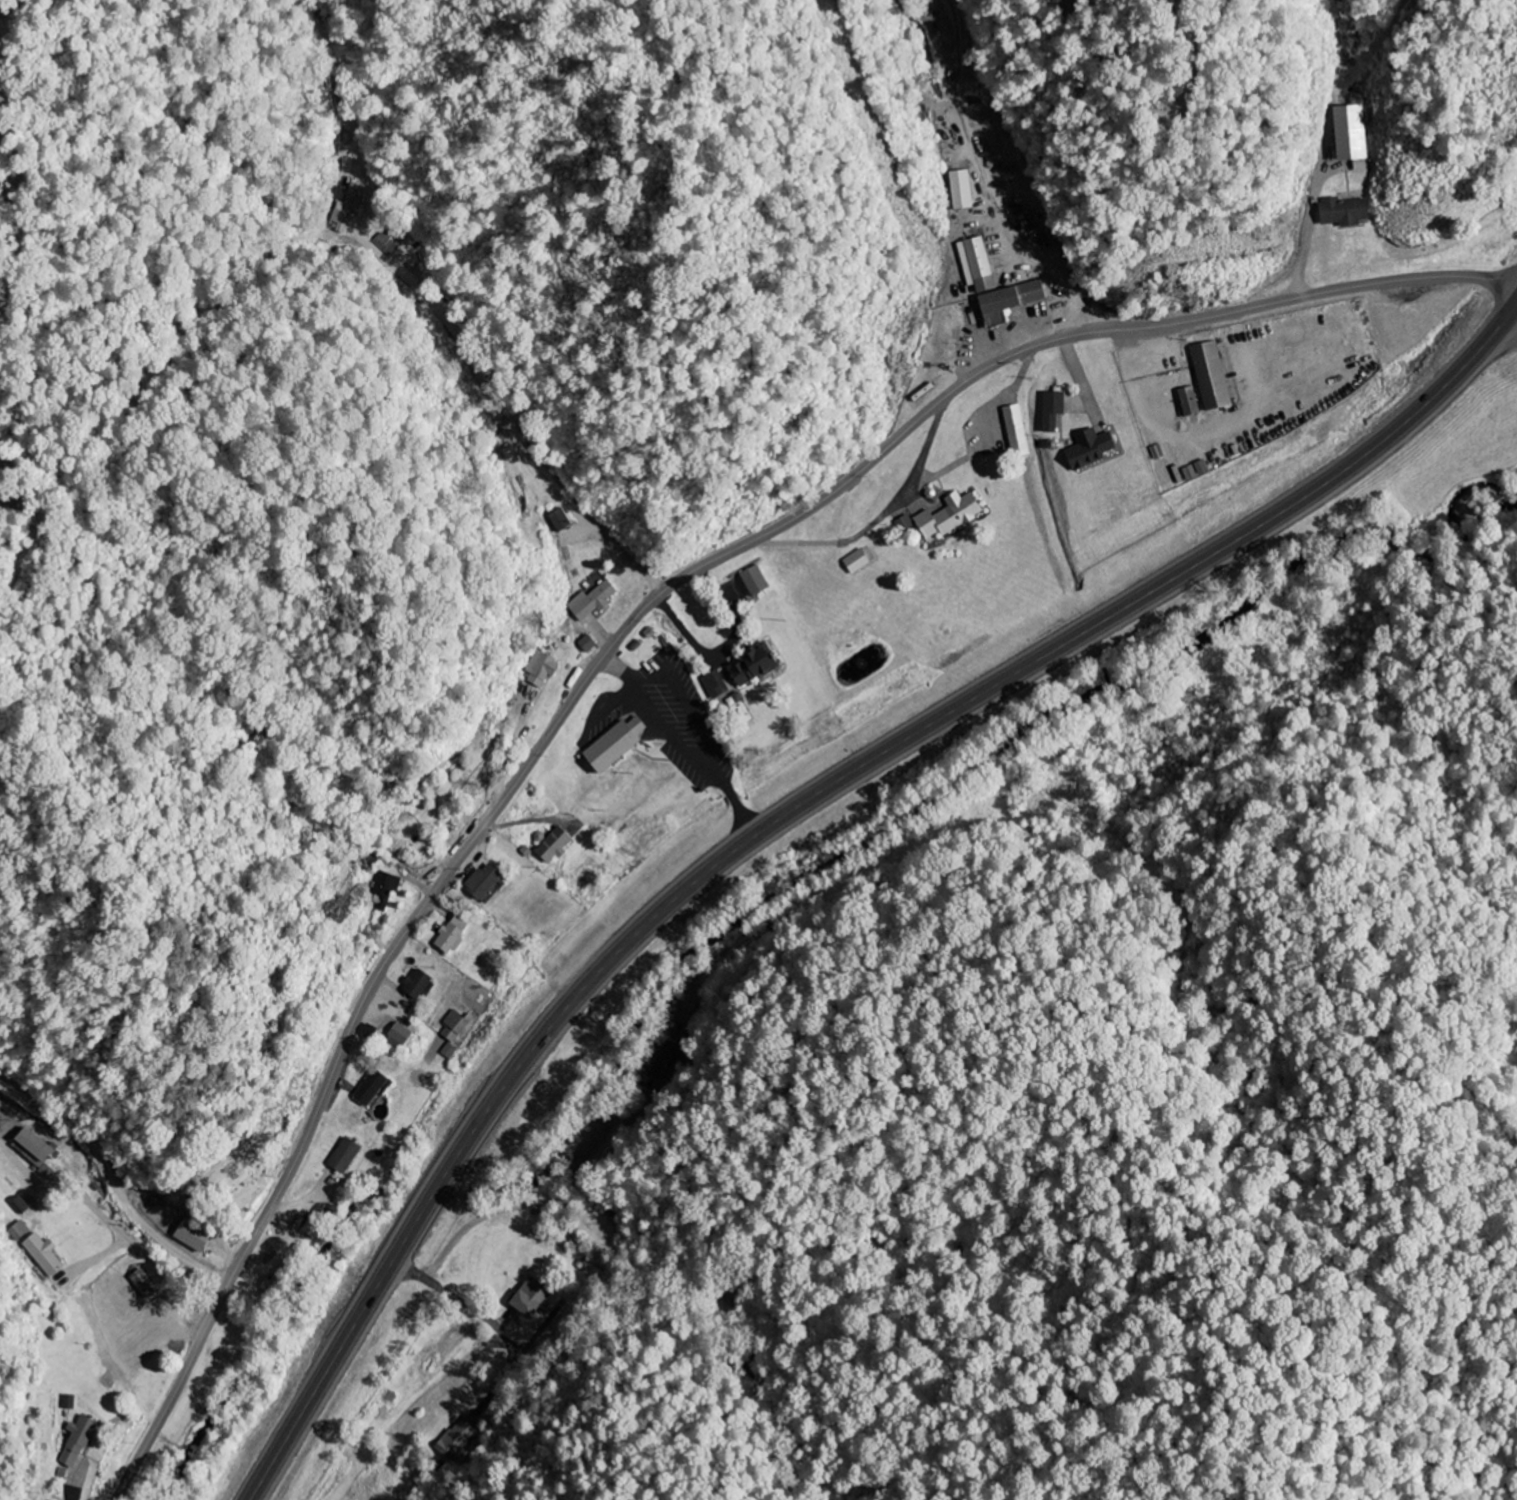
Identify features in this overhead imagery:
building: (1347, 133)
building: (960, 190)
building: (347, 208)
building: (1341, 213)
building: (384, 244)
building: (974, 265)
building: (1006, 302)
road: (1081, 307)
building: (1208, 377)
building: (1186, 402)
building: (1050, 411)
building: (1014, 431)
building: (1086, 450)
building: (519, 499)
building: (946, 517)
building: (557, 521)
building: (854, 563)
building: (752, 582)
building: (591, 602)
road: (620, 636)
building: (585, 645)
building: (751, 665)
building: (539, 670)
building: (713, 685)
building: (611, 747)
road: (793, 809)
building: (551, 847)
building: (479, 883)
building: (384, 890)
building: (449, 937)
building: (416, 986)
building: (452, 1028)
building: (397, 1035)
building: (447, 1052)
building: (659, 1059)
building: (367, 1089)
building: (32, 1147)
building: (341, 1157)
park: (233, 1180)
road: (112, 1181)
building: (17, 1232)
building: (190, 1237)
building: (41, 1255)
building: (528, 1299)
building: (162, 1340)
building: (136, 1346)
building: (66, 1403)
building: (458, 1438)
building: (75, 1442)

